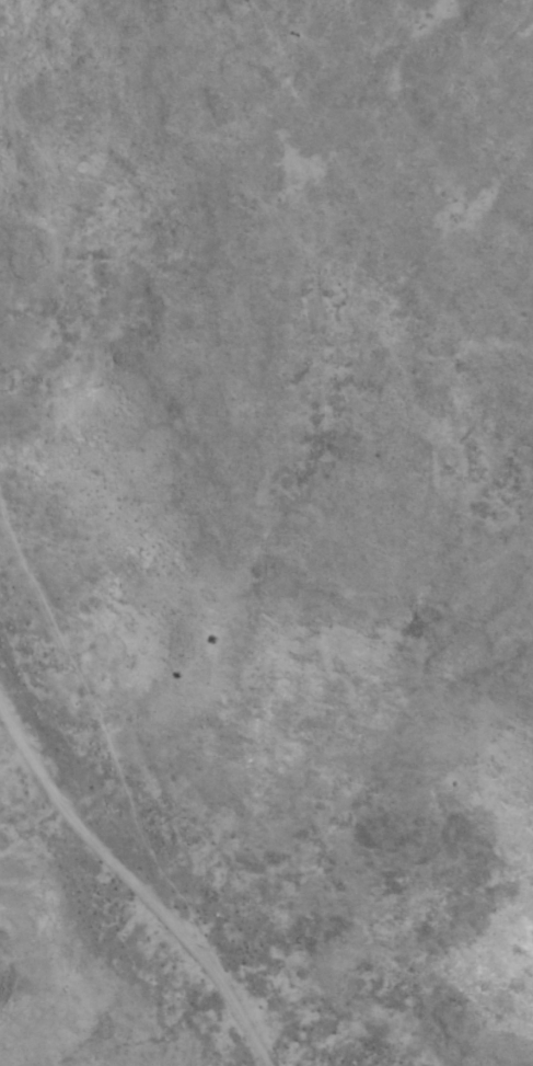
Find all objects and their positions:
road: (131, 889)

